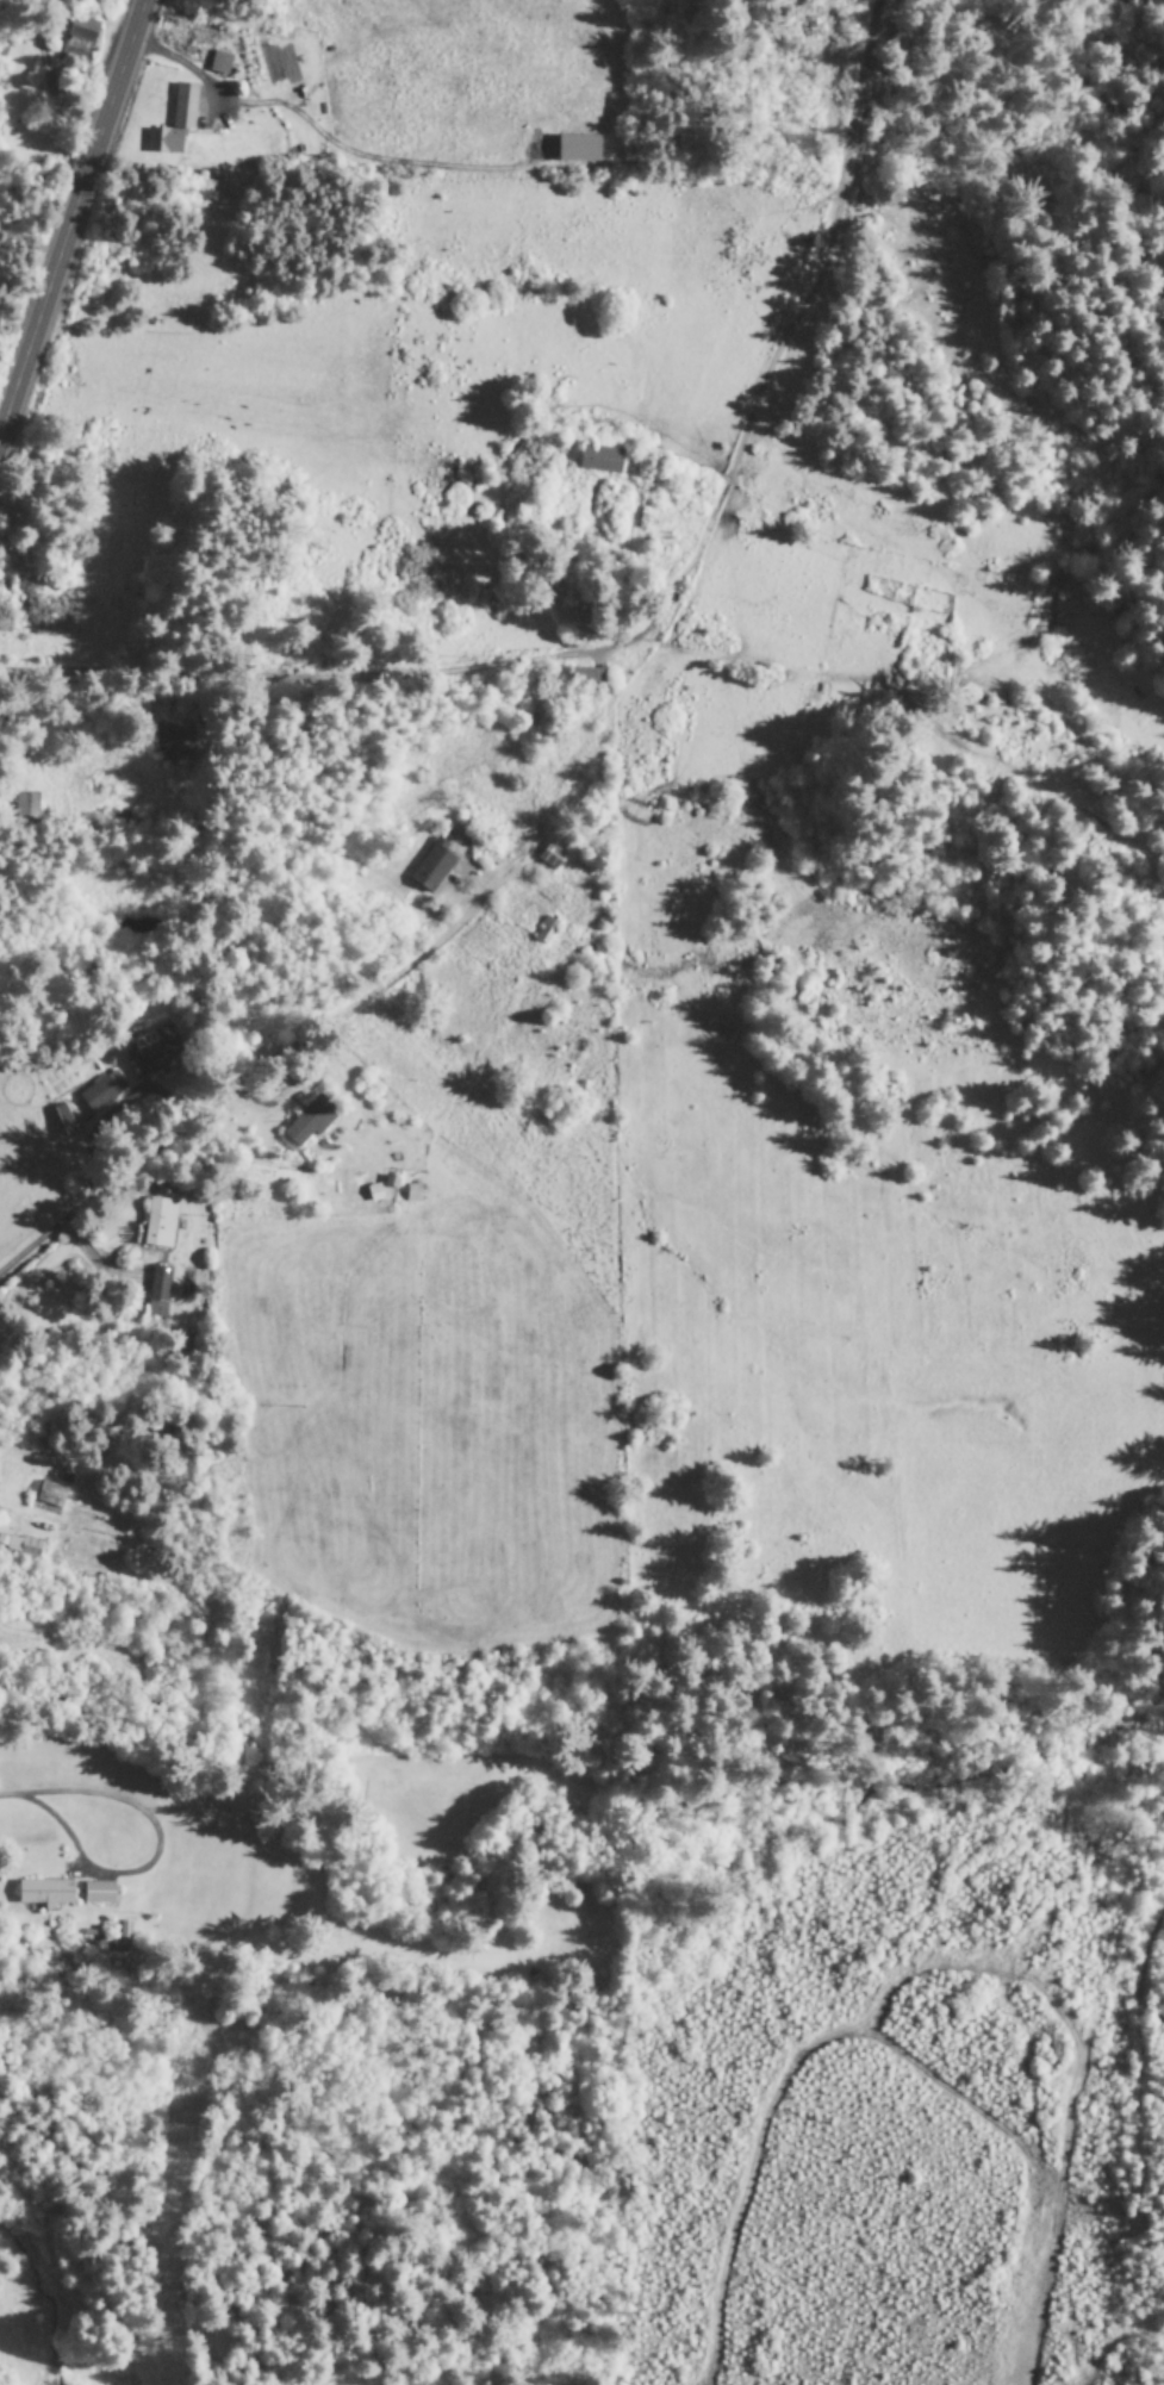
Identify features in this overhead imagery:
building: (77, 37)
building: (218, 63)
road: (549, 96)
building: (173, 123)
building: (575, 149)
road: (73, 222)
building: (598, 460)
road: (610, 642)
building: (586, 675)
building: (175, 742)
building: (549, 857)
building: (431, 866)
building: (543, 930)
building: (152, 1052)
building: (100, 1091)
road: (236, 1096)
building: (307, 1122)
building: (158, 1223)
building: (157, 1284)
building: (154, 1309)
building: (18, 1546)
road: (17, 1798)
road: (149, 1861)
building: (44, 1893)
building: (98, 1893)

